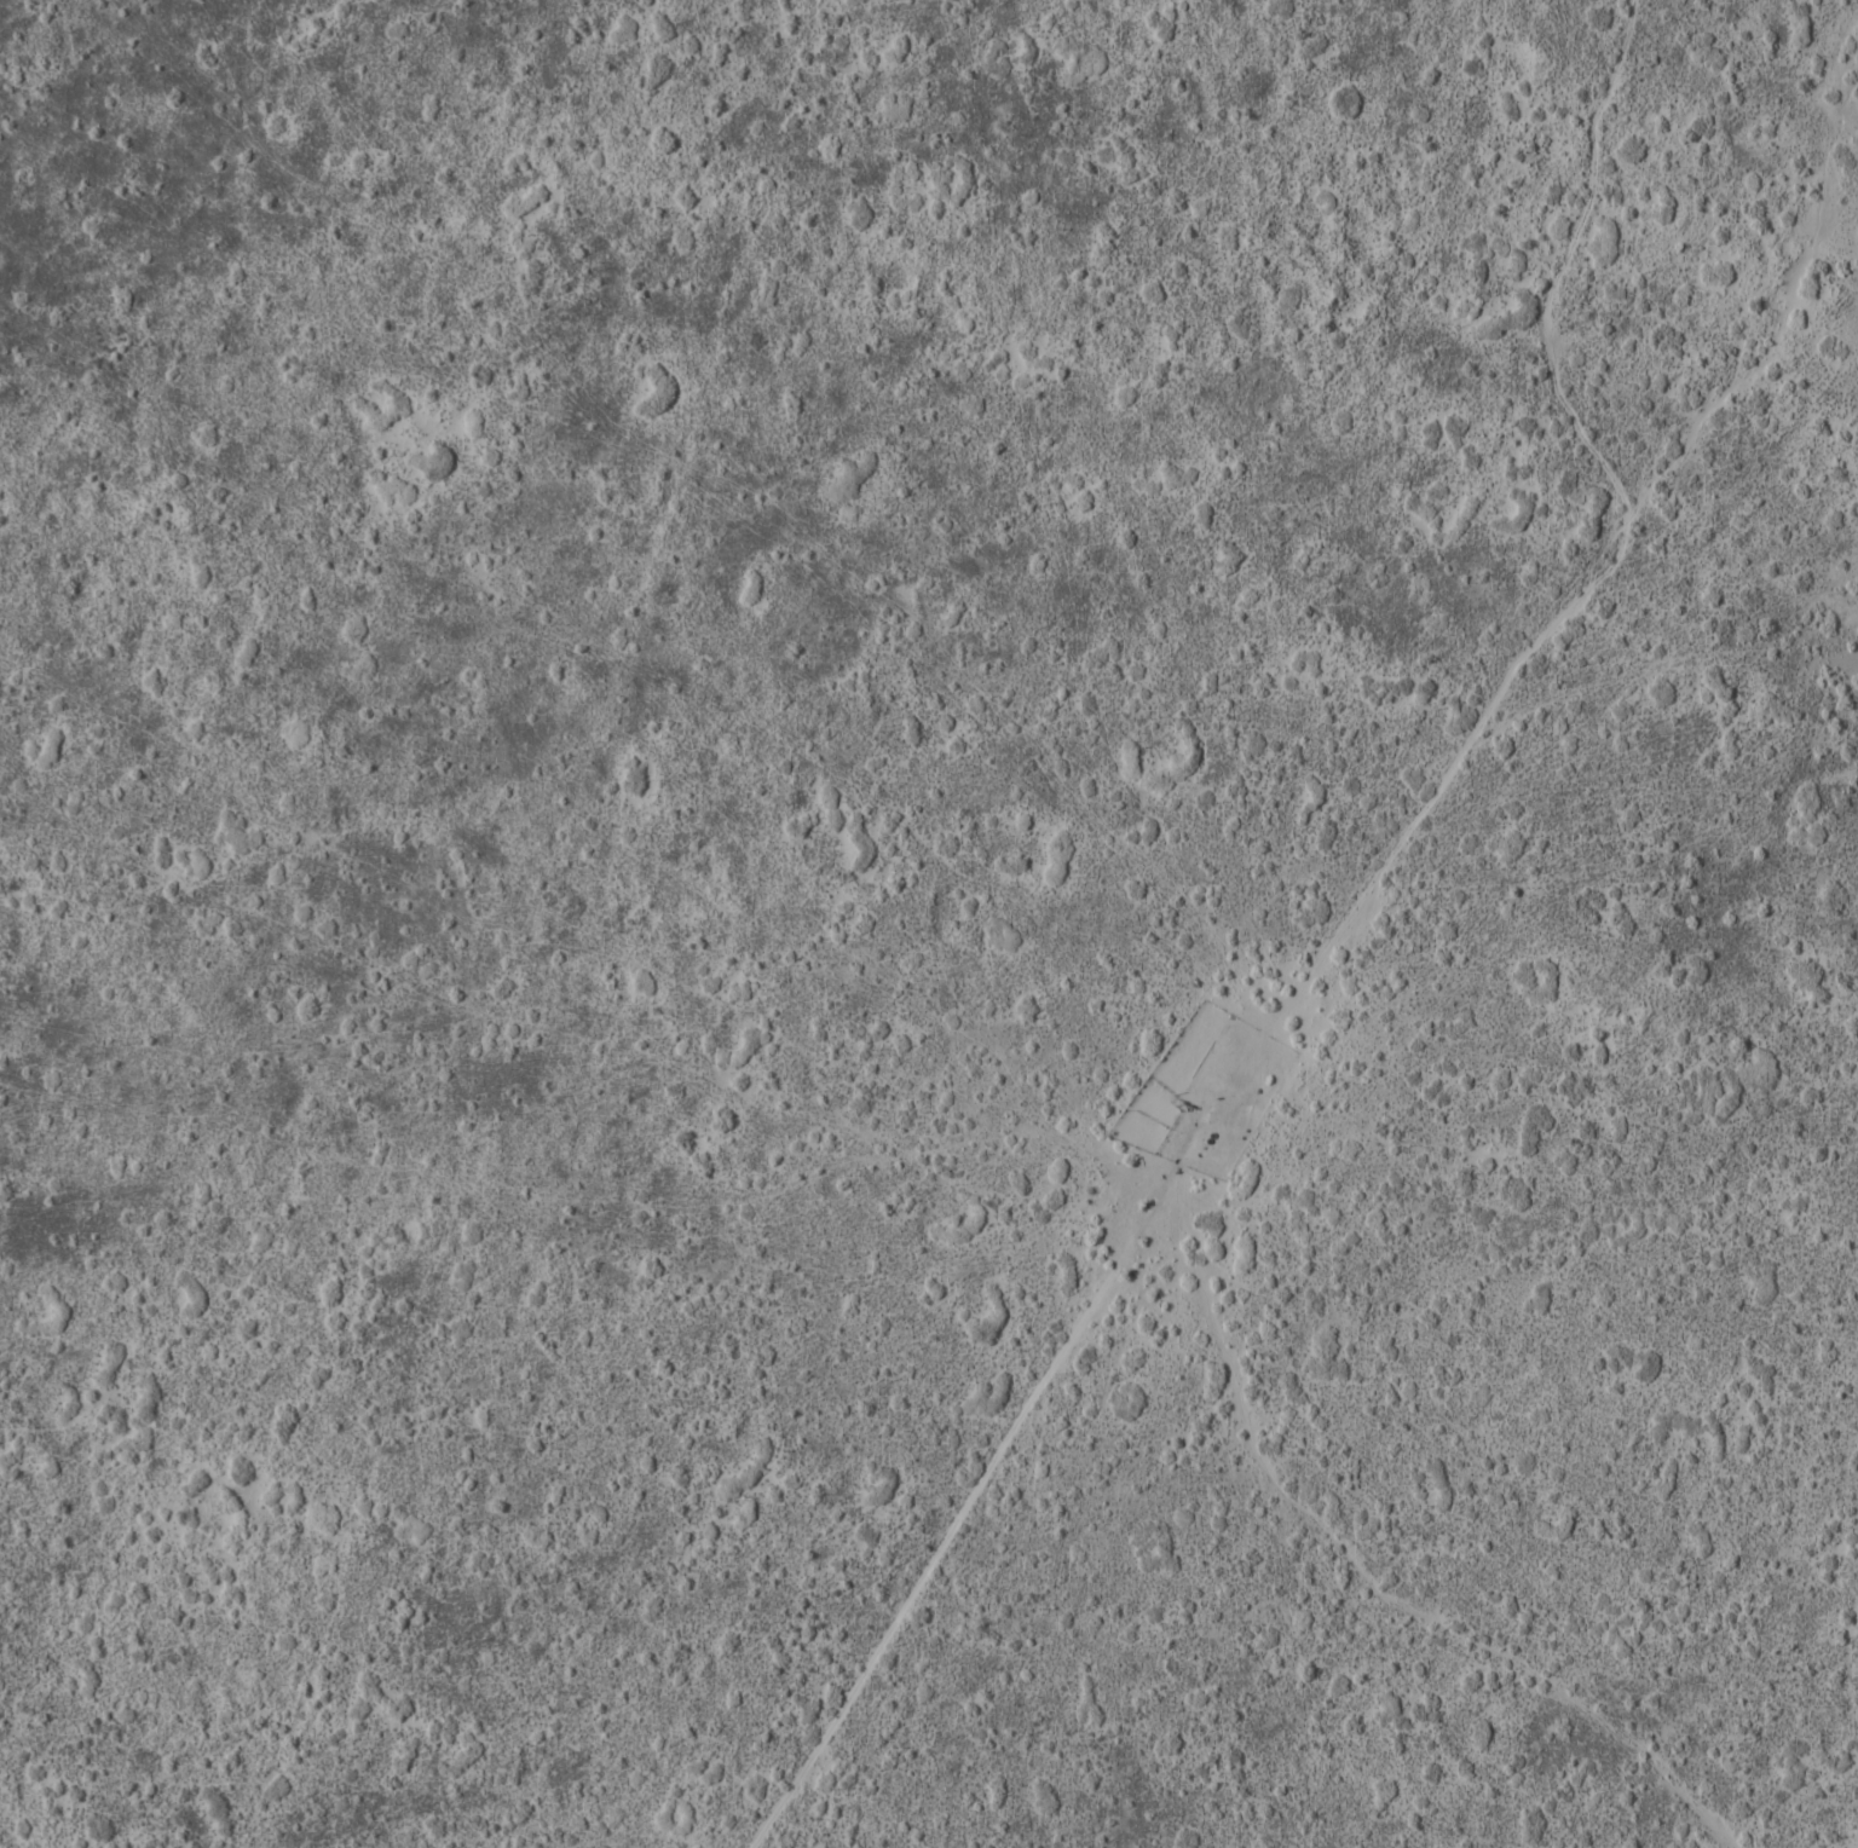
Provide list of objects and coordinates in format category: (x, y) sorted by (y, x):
road: (1391, 957)

